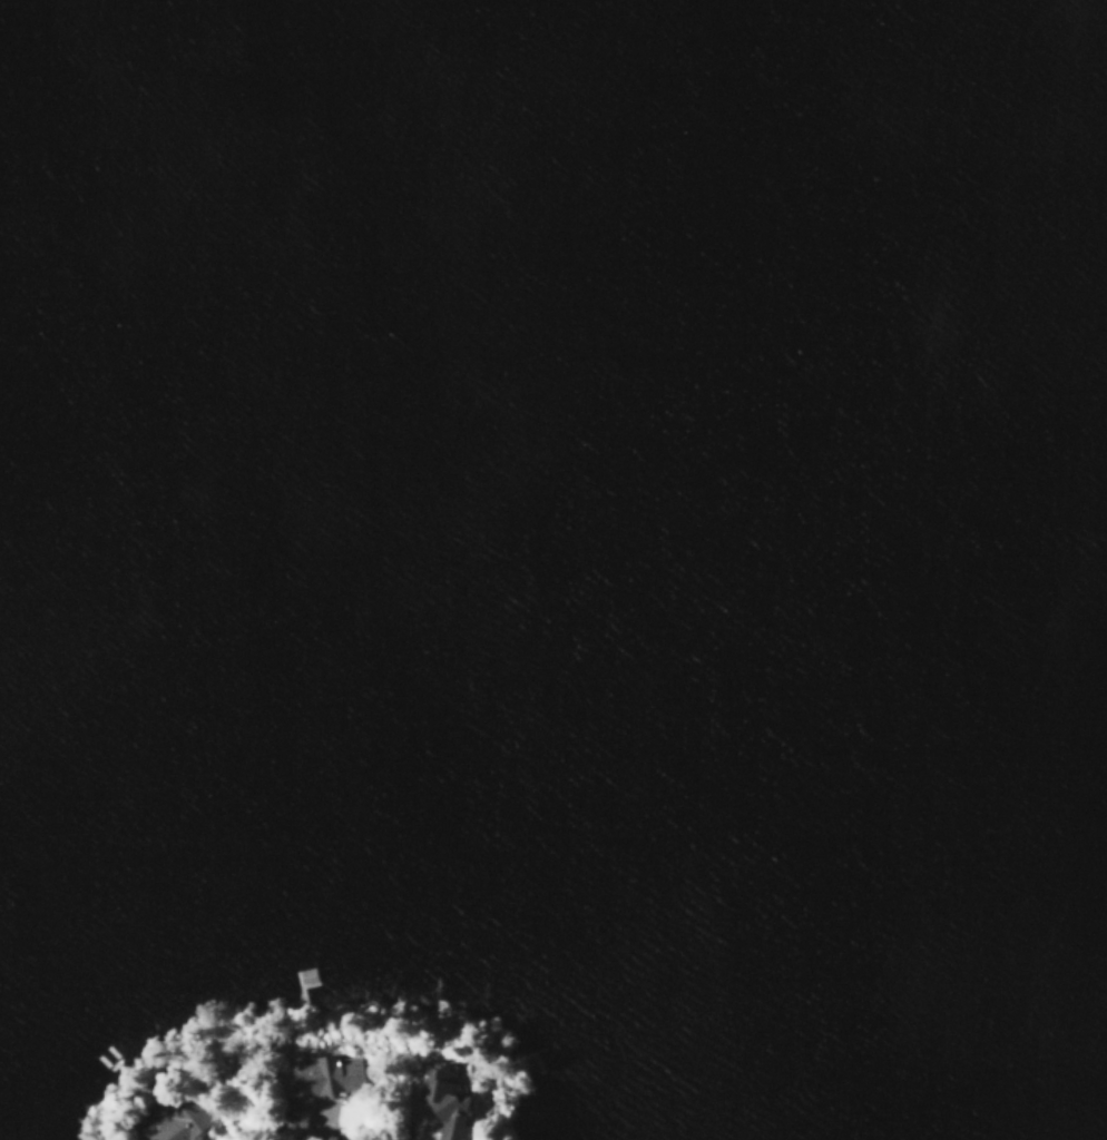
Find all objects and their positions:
building: (301, 977)
building: (320, 1079)
building: (444, 1101)
building: (177, 1120)

